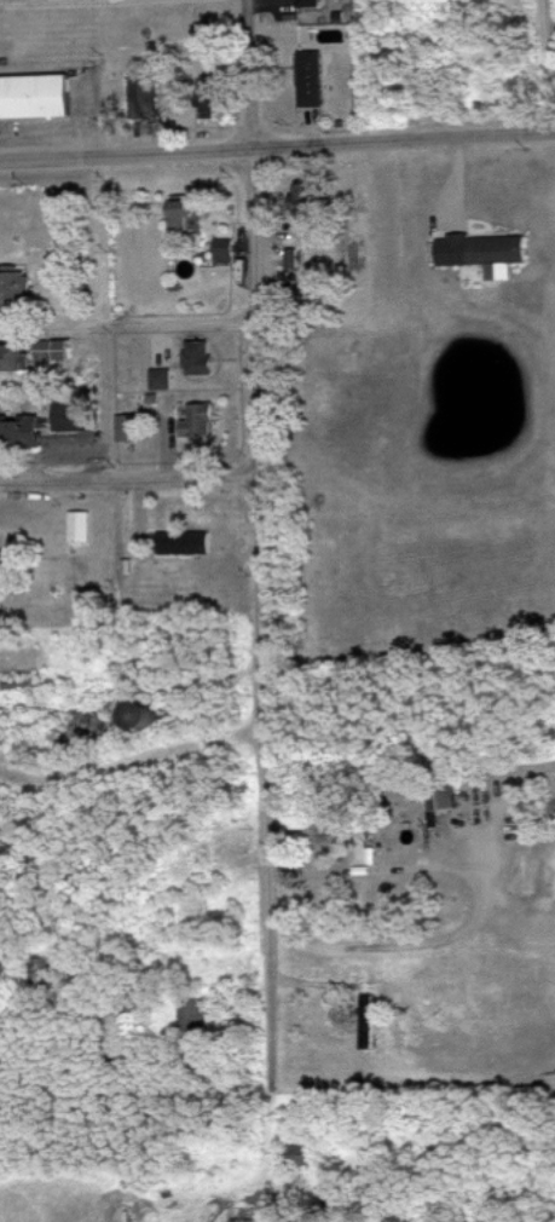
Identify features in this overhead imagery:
building: (312, 2)
road: (553, 64)
road: (248, 74)
building: (314, 79)
building: (37, 96)
road: (277, 146)
building: (190, 214)
building: (485, 247)
building: (16, 287)
road: (127, 323)
building: (56, 350)
building: (203, 357)
building: (16, 358)
building: (162, 379)
building: (76, 416)
building: (203, 419)
building: (23, 433)
road: (128, 478)
building: (80, 526)
road: (262, 645)
road: (132, 759)
building: (445, 797)
building: (41, 973)
building: (195, 1019)
building: (370, 1021)

